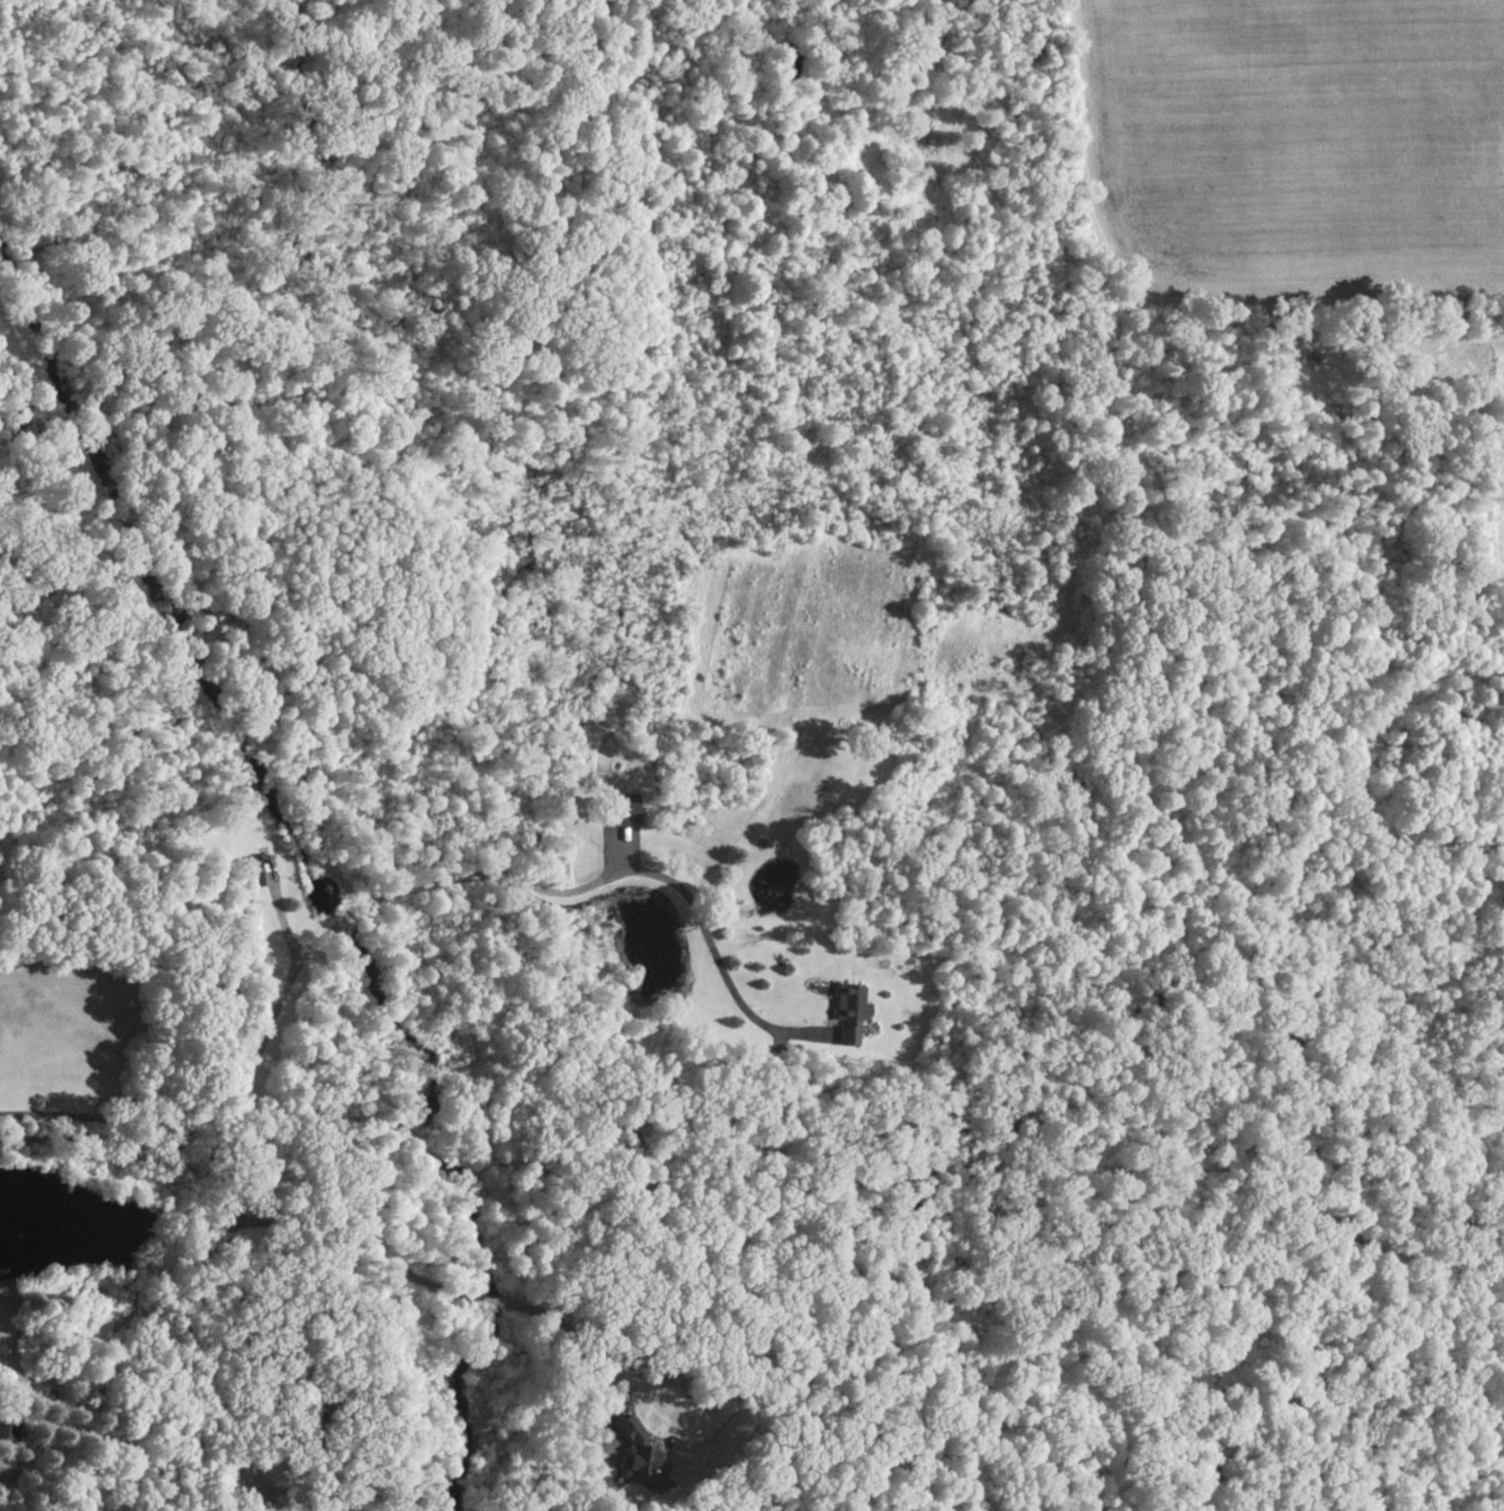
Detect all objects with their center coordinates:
building: (623, 808)
road: (468, 864)
building: (251, 870)
building: (850, 1011)
road: (223, 1218)
building: (9, 1425)
building: (641, 1459)

